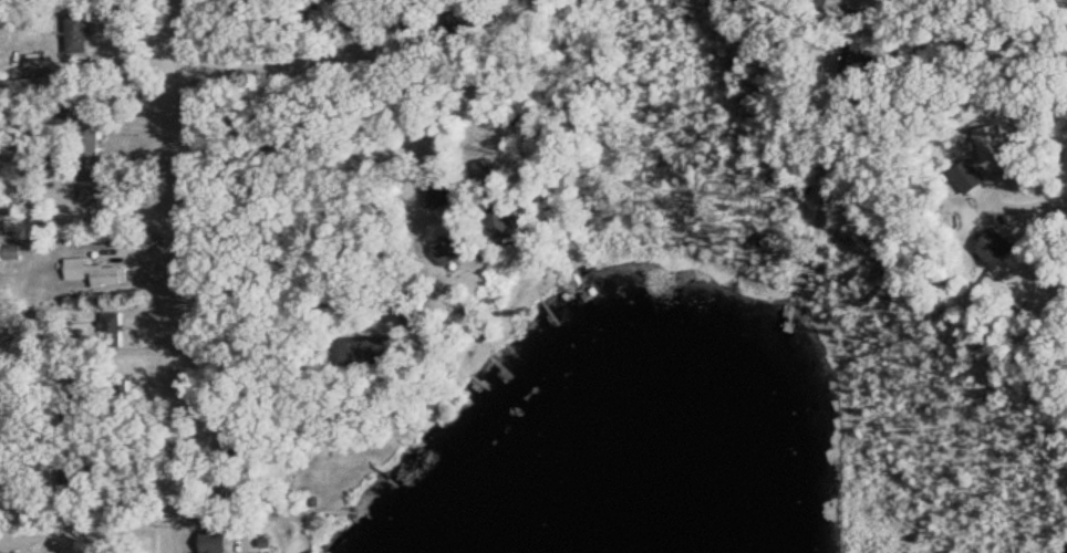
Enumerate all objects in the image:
building: (359, 6)
building: (838, 7)
building: (330, 12)
building: (83, 32)
road: (355, 60)
road: (856, 66)
building: (32, 87)
building: (93, 142)
building: (96, 187)
building: (997, 254)
building: (101, 270)
road: (169, 276)
building: (106, 387)

